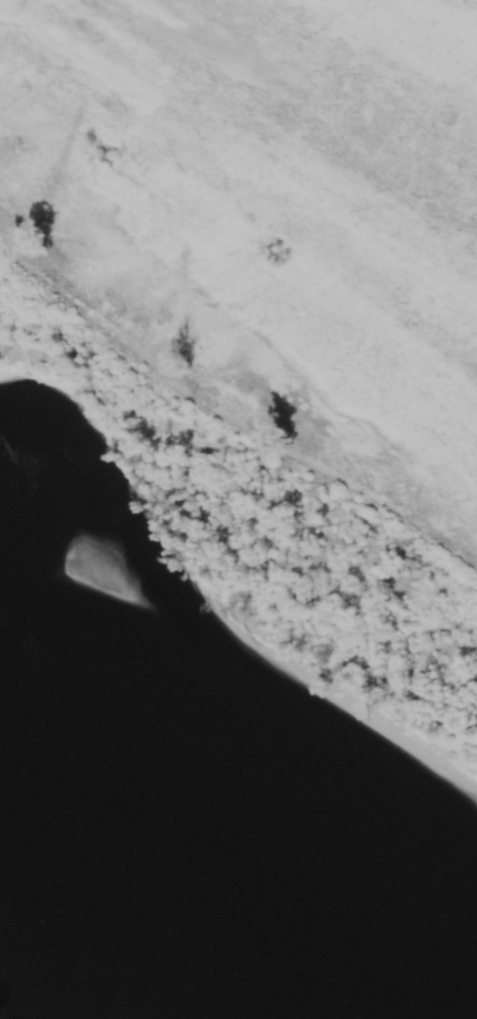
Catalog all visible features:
river: (186, 880)

